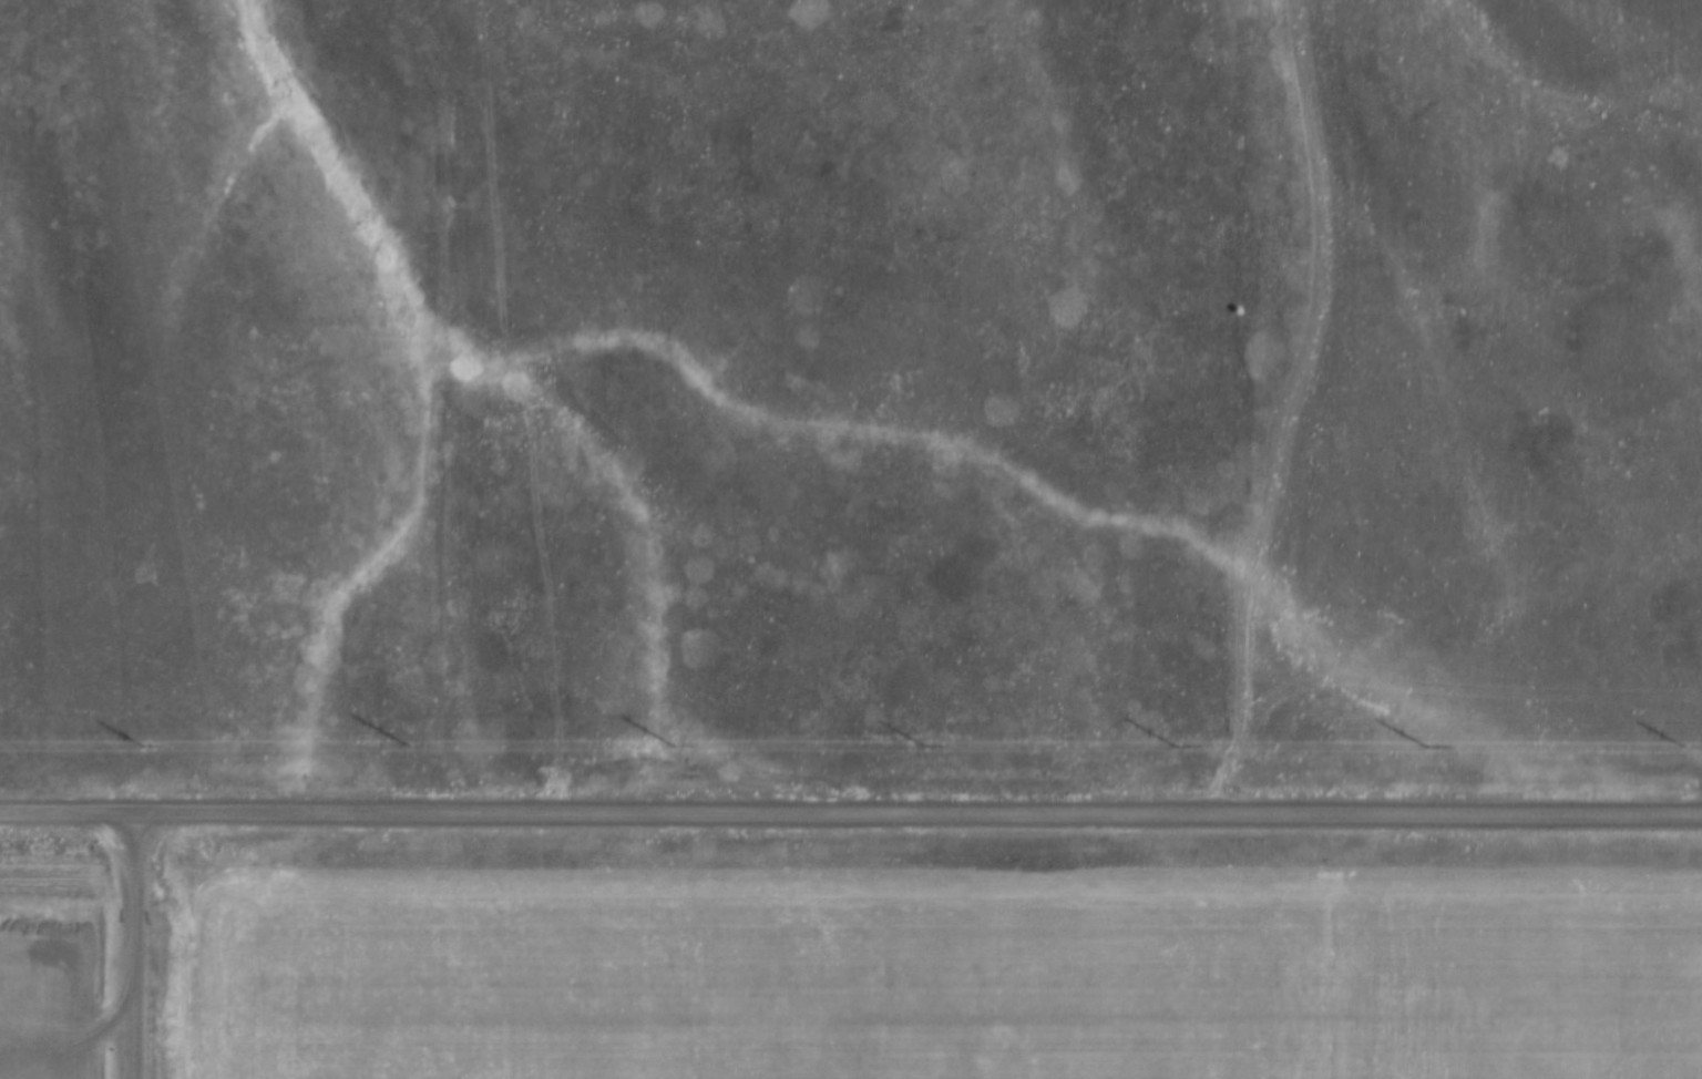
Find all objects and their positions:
road: (851, 816)

